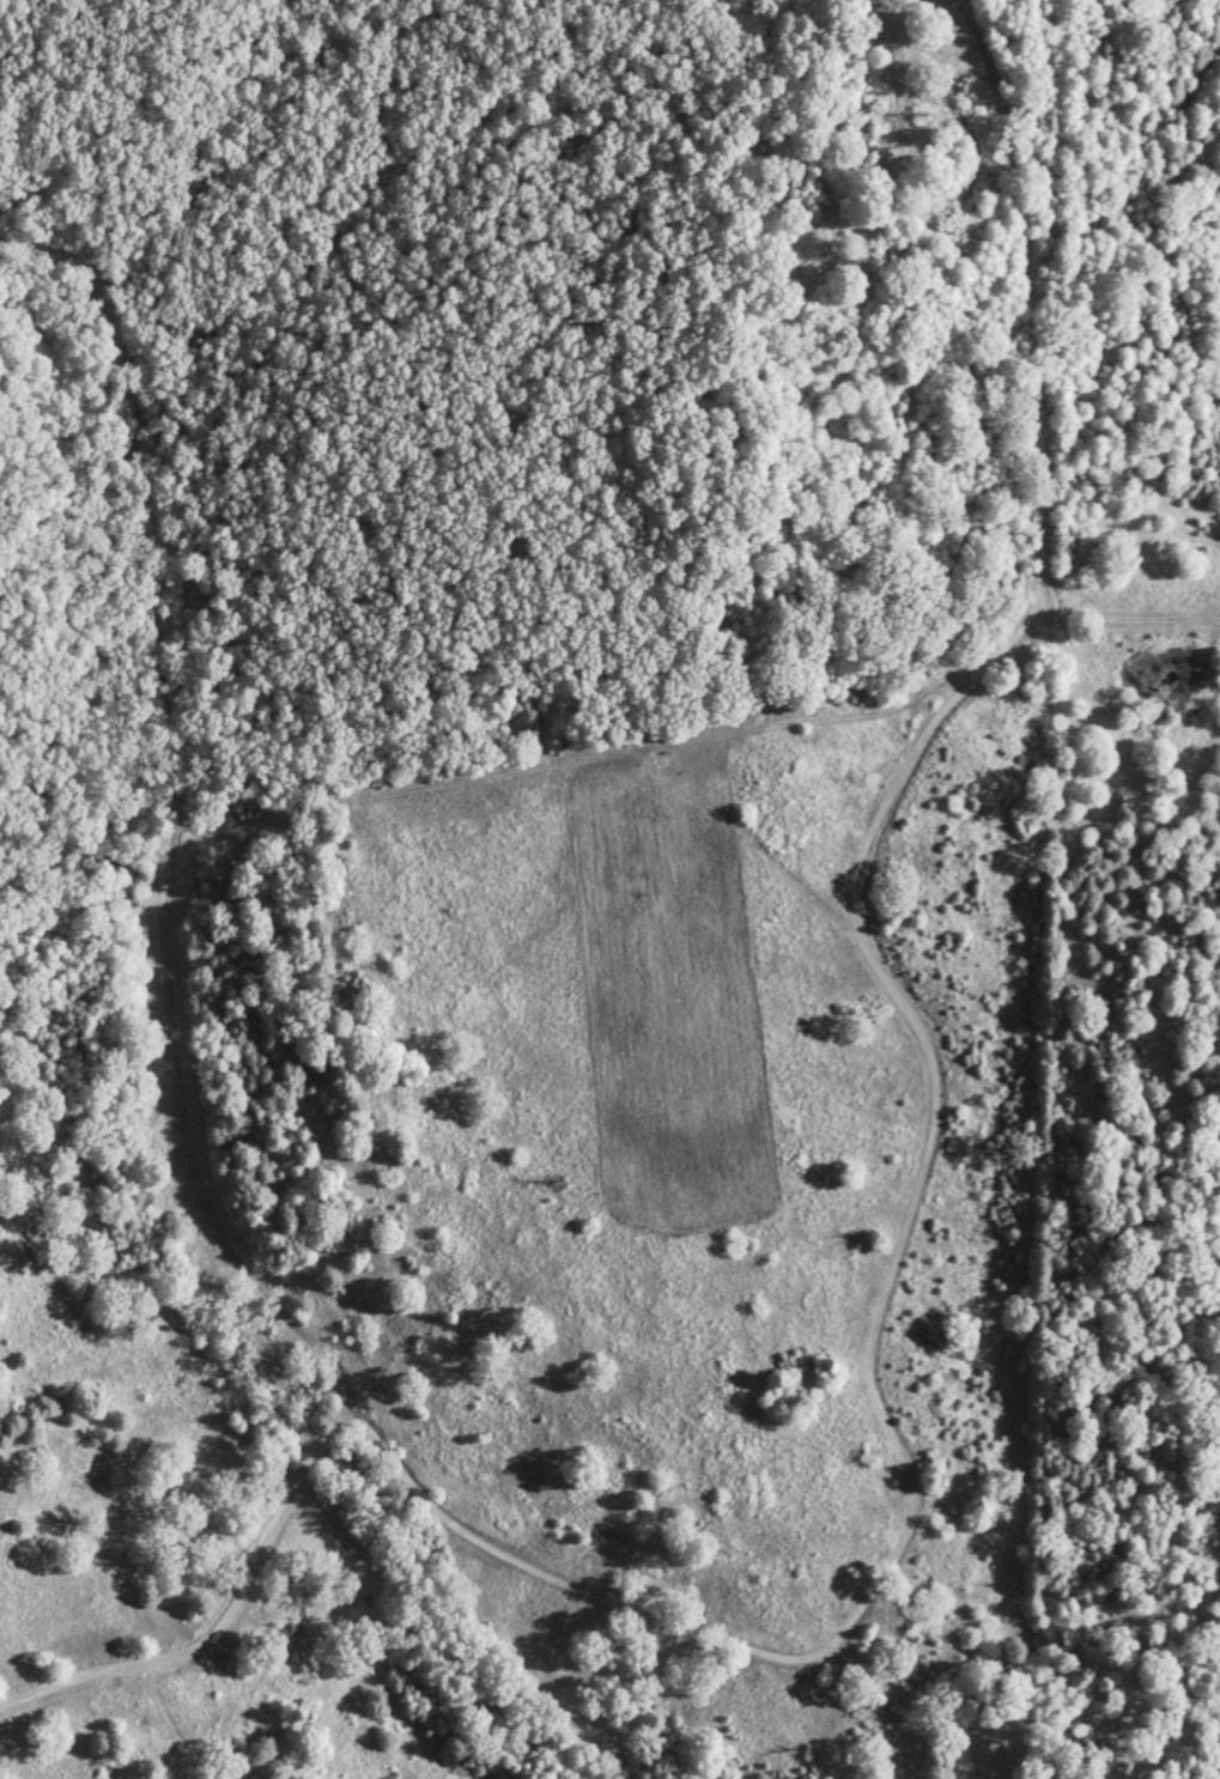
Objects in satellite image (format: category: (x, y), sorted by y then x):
road: (874, 1287)

